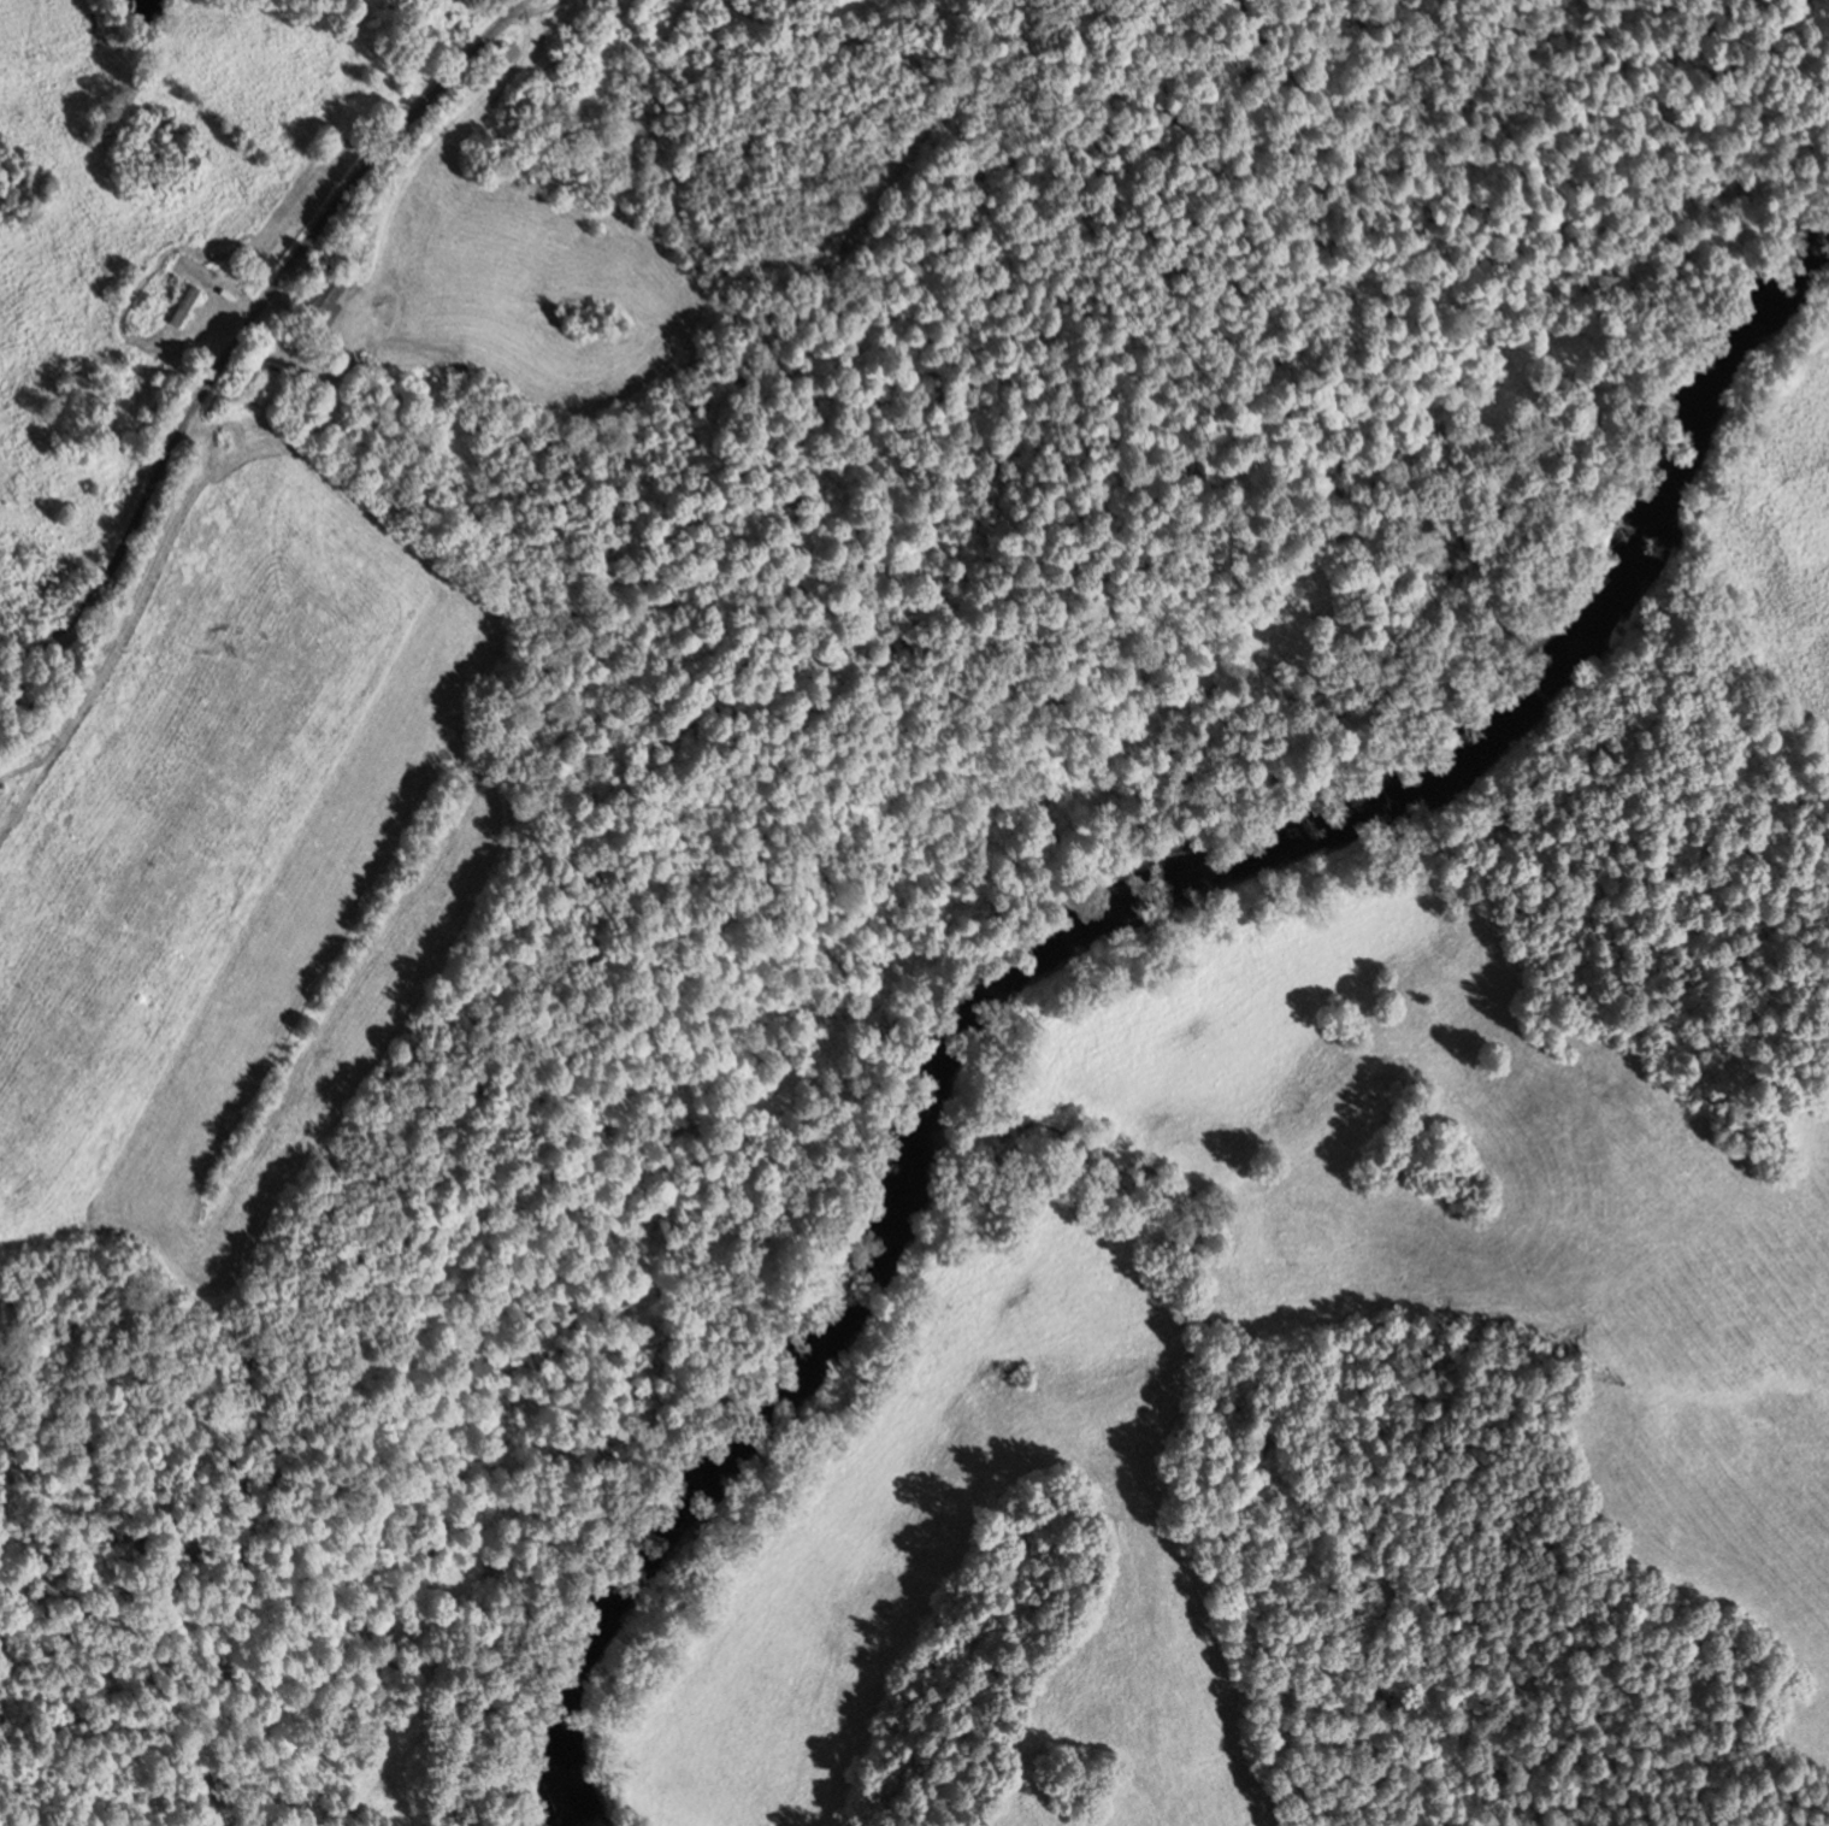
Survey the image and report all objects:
road: (250, 329)

